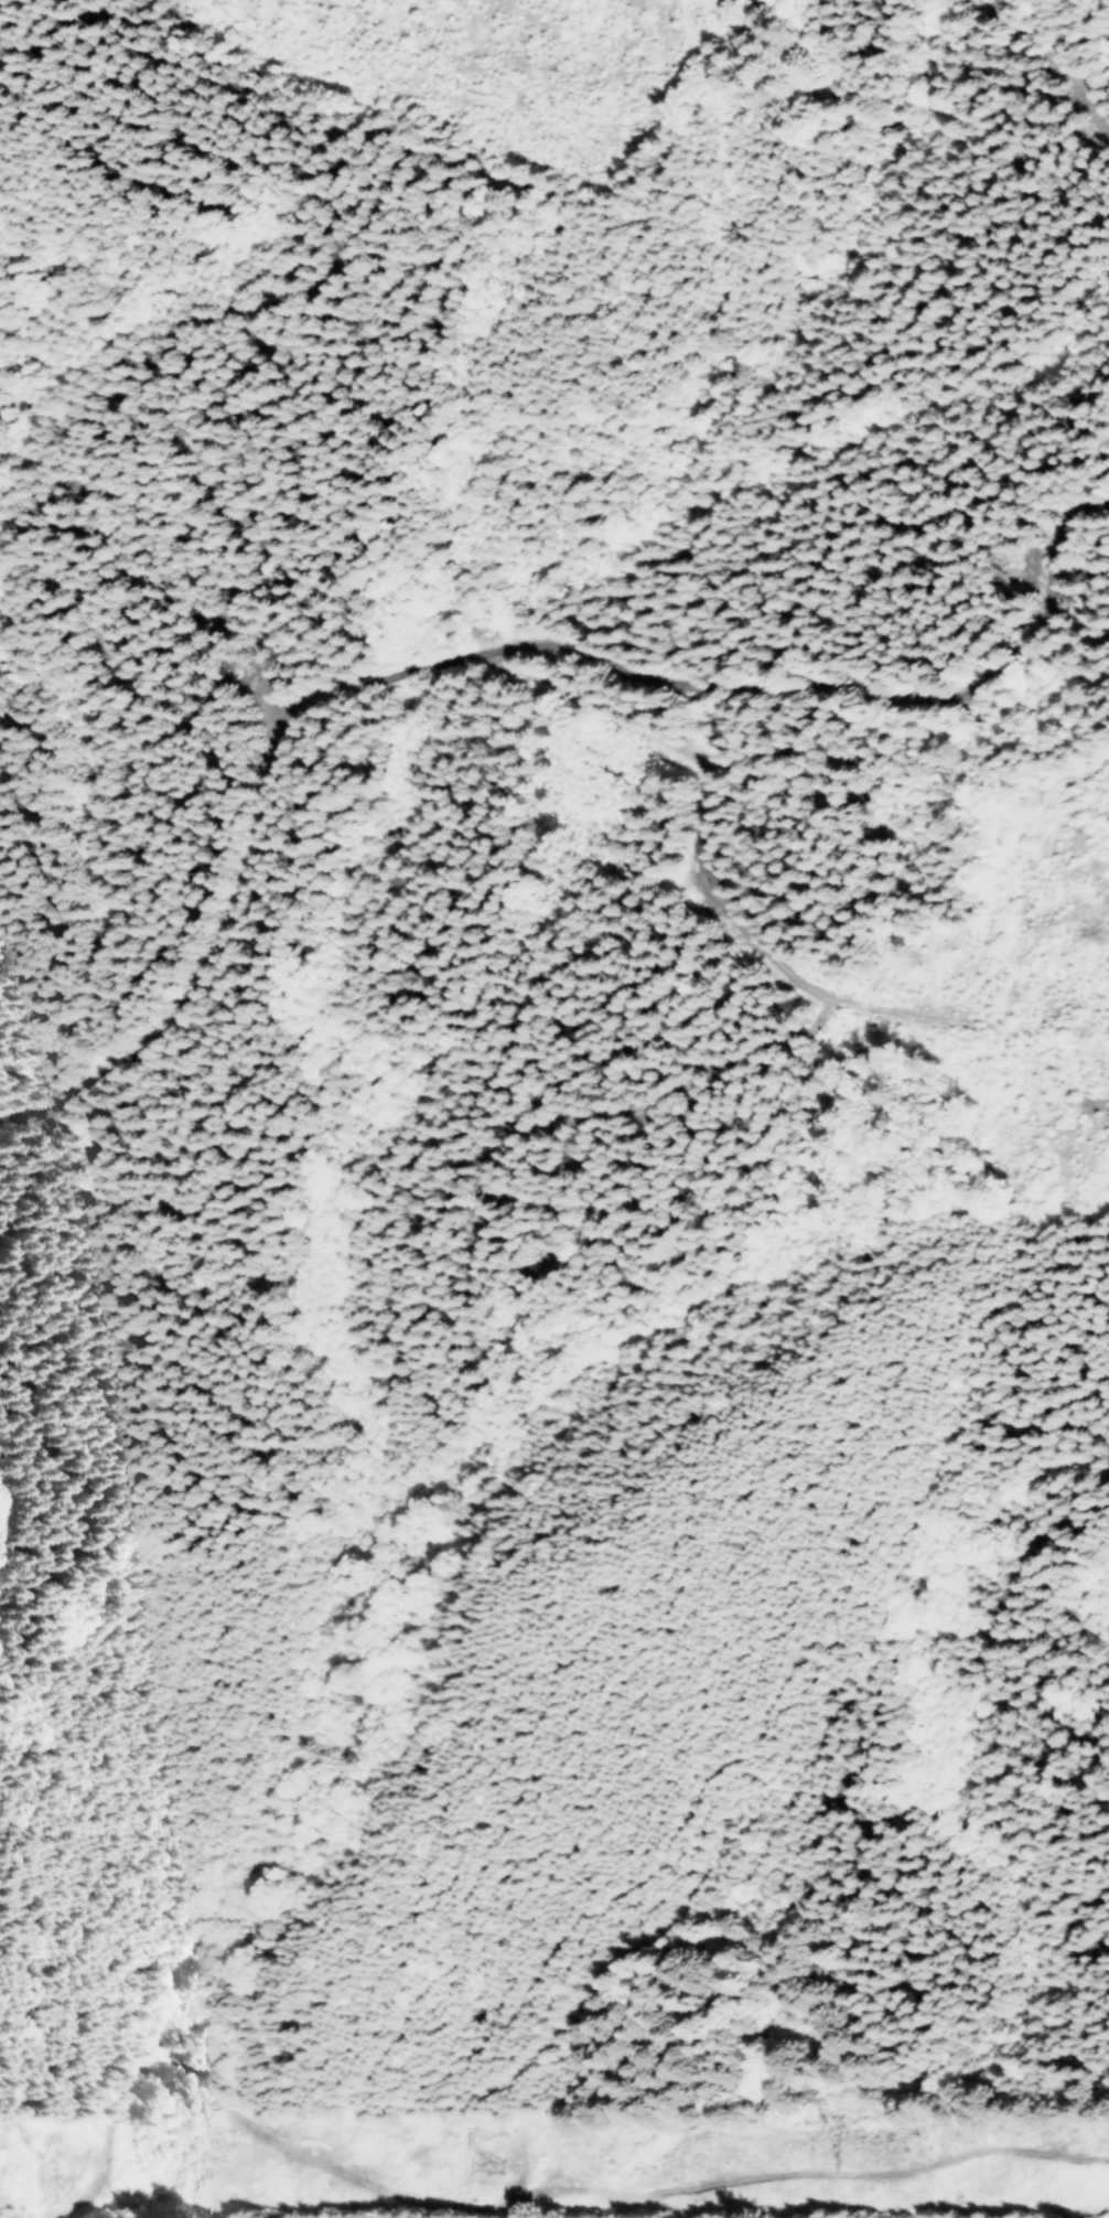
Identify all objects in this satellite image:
road: (1040, 73)
power tower: (487, 2153)

